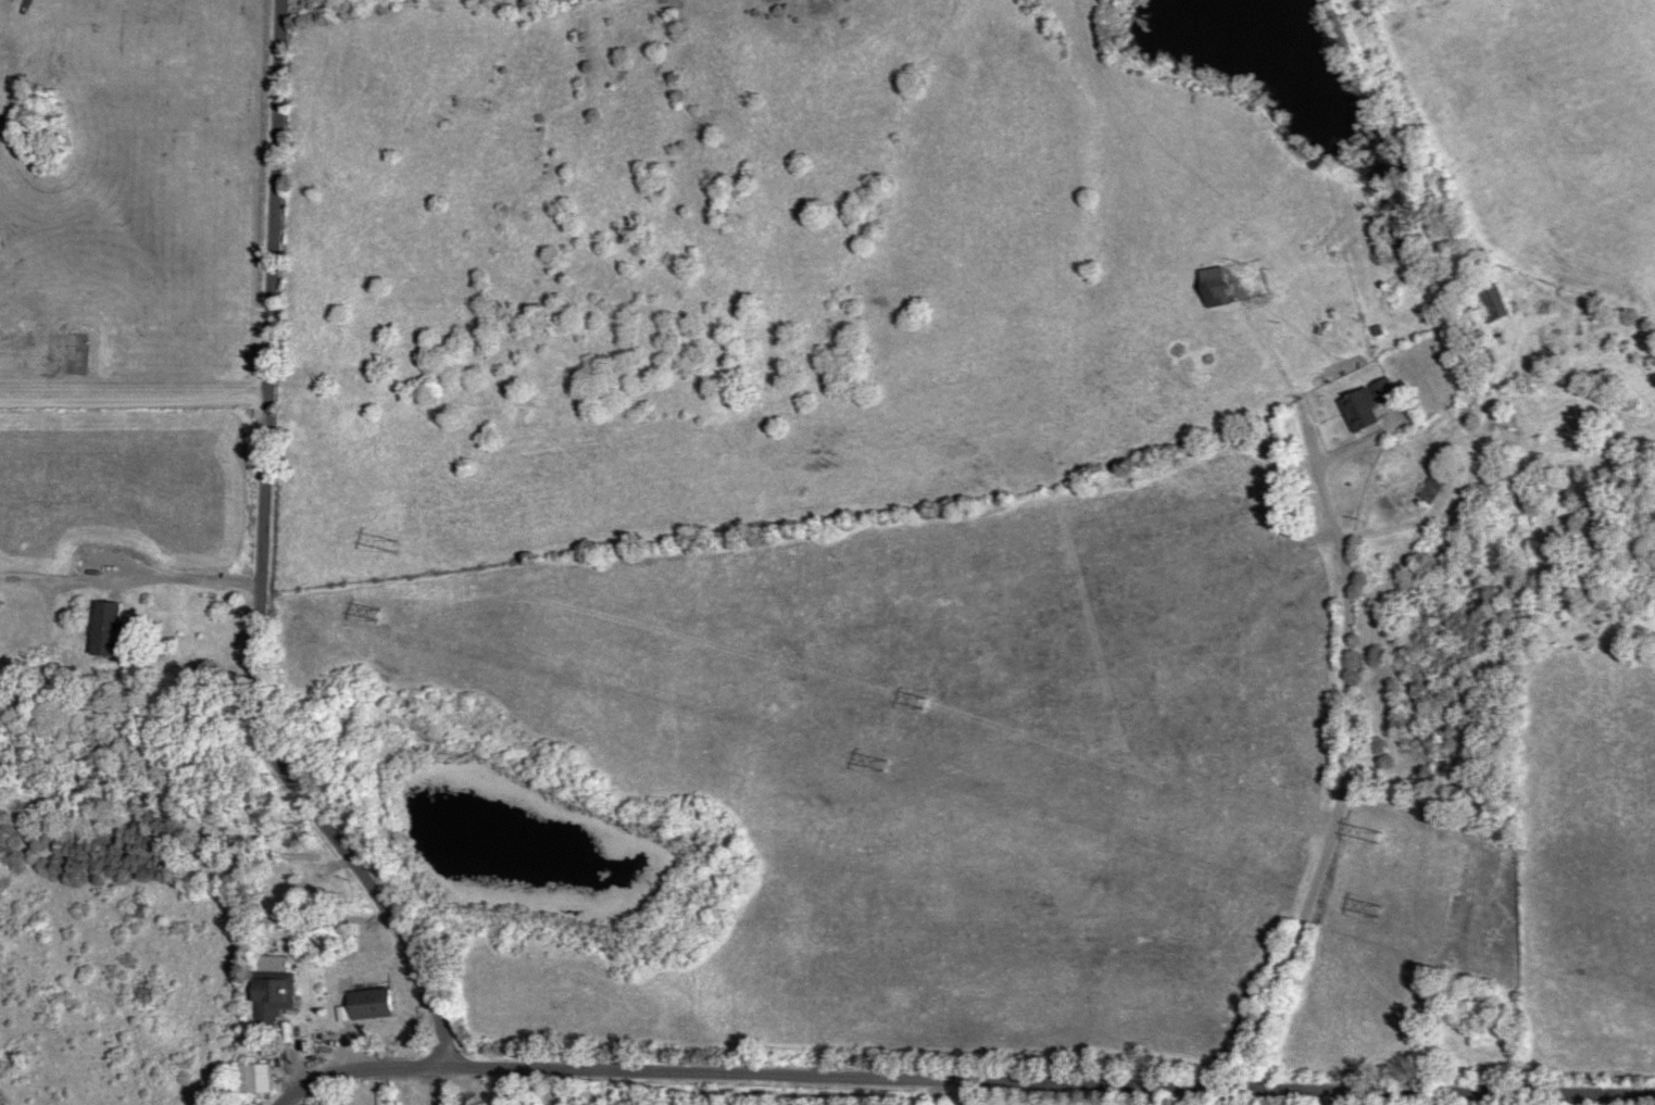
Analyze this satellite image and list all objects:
building: (1216, 285)
building: (1491, 300)
road: (134, 402)
building: (1366, 403)
building: (1434, 482)
power tower: (400, 544)
road: (262, 561)
road: (177, 582)
power tower: (378, 613)
building: (109, 627)
power tower: (925, 699)
power tower: (887, 761)
power tower: (1376, 834)
building: (300, 855)
power tower: (1375, 907)
building: (275, 991)
building: (376, 1003)
road: (975, 1076)
building: (258, 1077)
road: (958, 1090)
building: (529, 1100)
building: (576, 1102)

